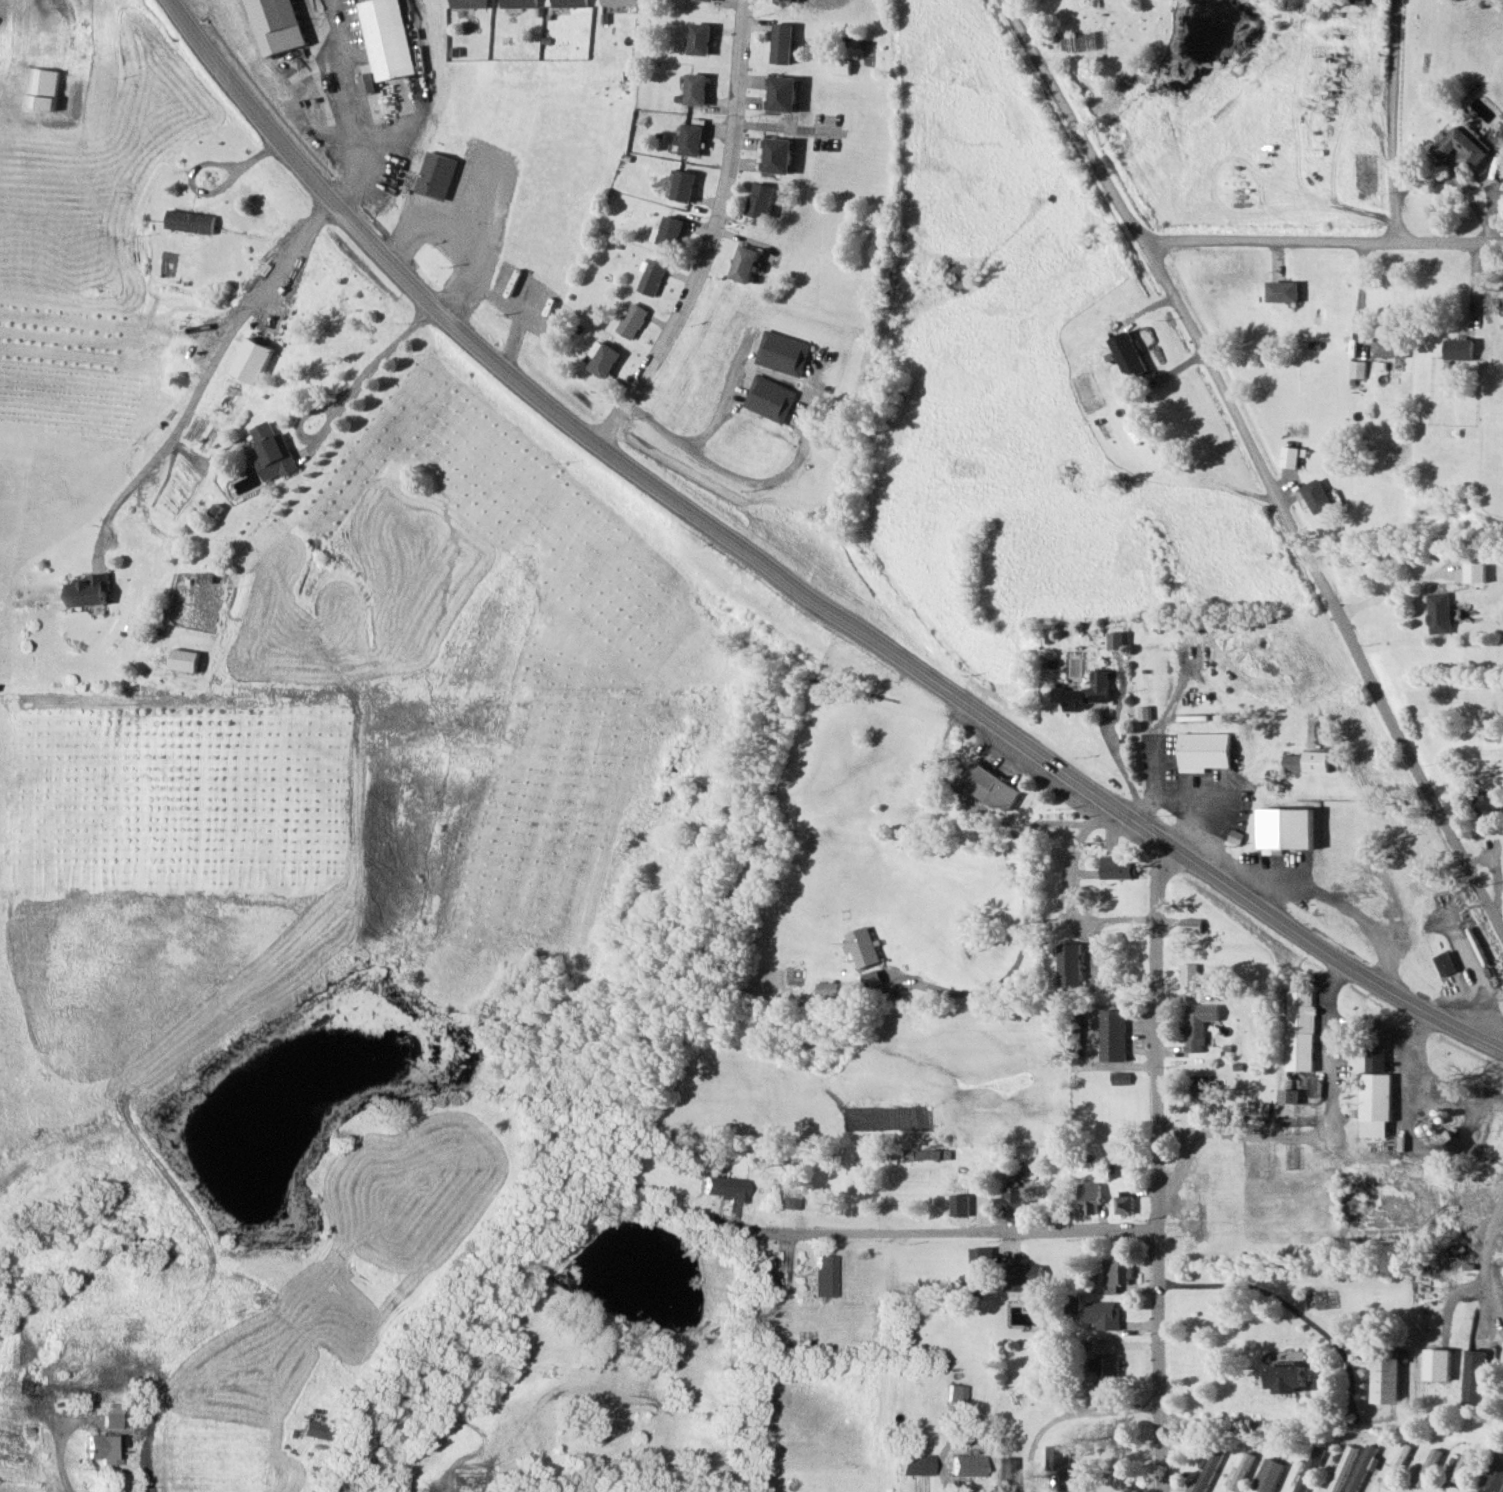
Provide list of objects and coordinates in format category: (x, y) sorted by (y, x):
building: (704, 0)
building: (783, 1)
building: (1356, 1)
building: (618, 2)
building: (467, 3)
building: (517, 3)
building: (568, 3)
building: (276, 24)
road: (1027, 37)
building: (698, 39)
building: (380, 41)
building: (781, 43)
road: (23, 44)
building: (41, 88)
building: (695, 89)
building: (780, 93)
road: (343, 99)
road: (1395, 120)
building: (690, 139)
building: (1459, 148)
road: (257, 153)
building: (775, 155)
building: (432, 175)
building: (681, 185)
road: (211, 188)
building: (759, 200)
road: (337, 204)
building: (187, 221)
building: (669, 231)
road: (715, 238)
road: (1270, 240)
road: (1449, 241)
road: (454, 243)
building: (743, 263)
road: (291, 267)
building: (650, 277)
building: (1281, 291)
building: (631, 320)
building: (1389, 346)
building: (1459, 348)
building: (781, 351)
road: (390, 352)
building: (1127, 355)
building: (603, 360)
building: (250, 361)
building: (1356, 369)
building: (766, 397)
road: (338, 417)
building: (271, 452)
building: (1291, 456)
road: (732, 478)
building: (1316, 496)
road: (1280, 502)
building: (1477, 568)
road: (1397, 586)
building: (86, 590)
building: (1440, 612)
building: (1085, 693)
road: (1004, 732)
building: (1205, 750)
building: (1292, 763)
building: (988, 787)
building: (1485, 803)
road: (1048, 823)
building: (1280, 832)
building: (1118, 868)
road: (1062, 900)
building: (1193, 925)
road: (1019, 929)
building: (860, 947)
building: (1444, 963)
building: (1068, 965)
building: (1190, 974)
building: (827, 989)
building: (1298, 1030)
building: (1115, 1035)
building: (1197, 1035)
building: (1374, 1058)
building: (1203, 1089)
building: (1374, 1103)
road: (1160, 1168)
building: (725, 1186)
building: (789, 1196)
building: (1090, 1197)
building: (1012, 1199)
building: (1125, 1202)
road: (955, 1232)
road: (1485, 1237)
building: (980, 1257)
building: (758, 1273)
building: (1118, 1273)
building: (1022, 1274)
building: (824, 1275)
road: (1455, 1293)
building: (1074, 1303)
road: (1292, 1310)
building: (1105, 1314)
building: (1107, 1364)
building: (1437, 1364)
building: (1386, 1375)
building: (1473, 1377)
building: (77, 1388)
building: (956, 1392)
road: (1063, 1414)
building: (109, 1415)
road: (1264, 1426)
building: (312, 1429)
road: (63, 1433)
building: (100, 1447)
building: (916, 1464)
building: (967, 1465)
building: (1343, 1465)
building: (1395, 1465)
building: (1063, 1467)
building: (1462, 1467)
building: (1242, 1468)
building: (1309, 1468)
building: (1361, 1468)
building: (1427, 1468)
building: (1204, 1472)
building: (1007, 1473)
building: (1494, 1474)
building: (1268, 1475)

